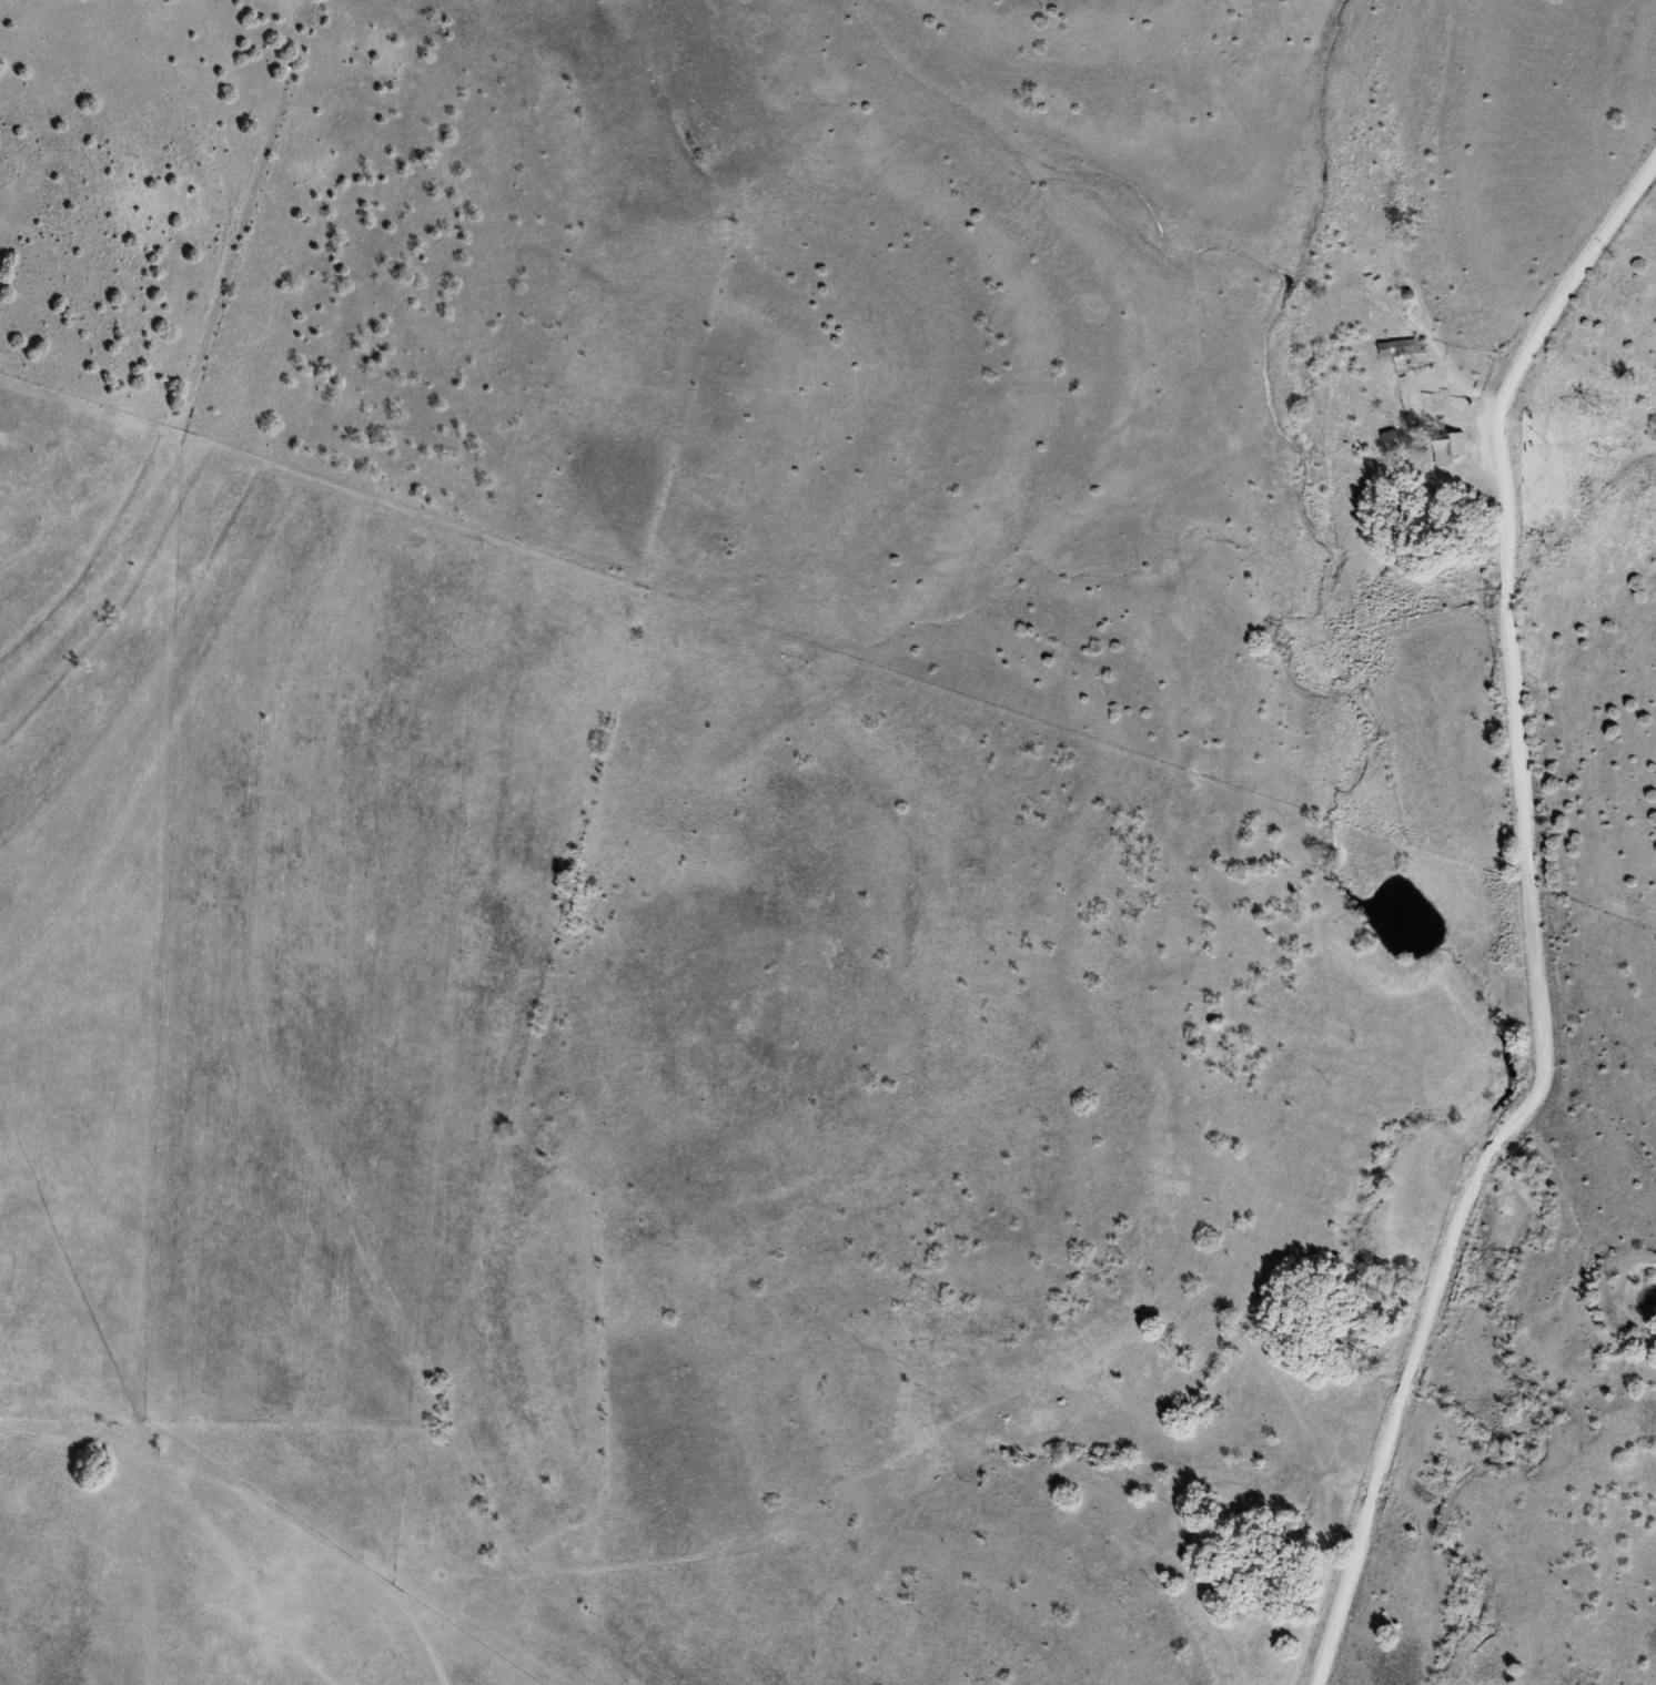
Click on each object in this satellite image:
building: (1403, 349)
building: (1447, 450)
road: (1527, 920)

